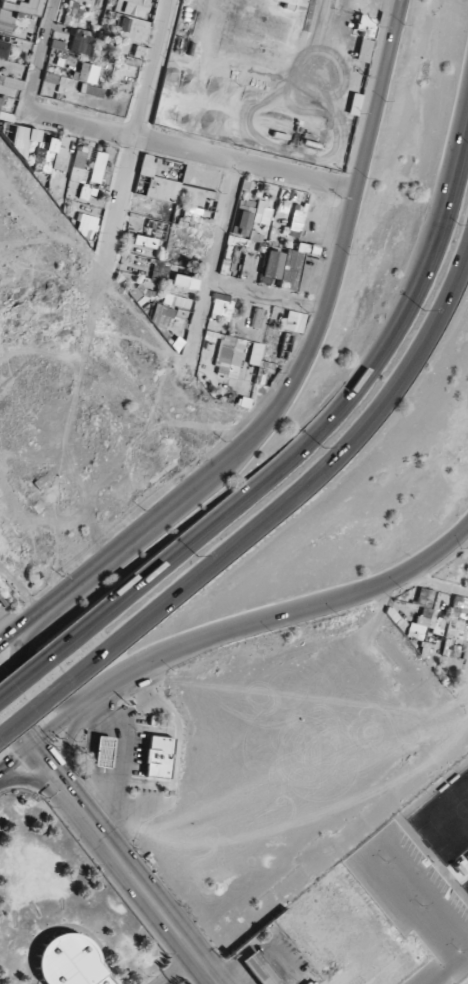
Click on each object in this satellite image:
gas station: (135, 755)
gas station: (255, 971)

